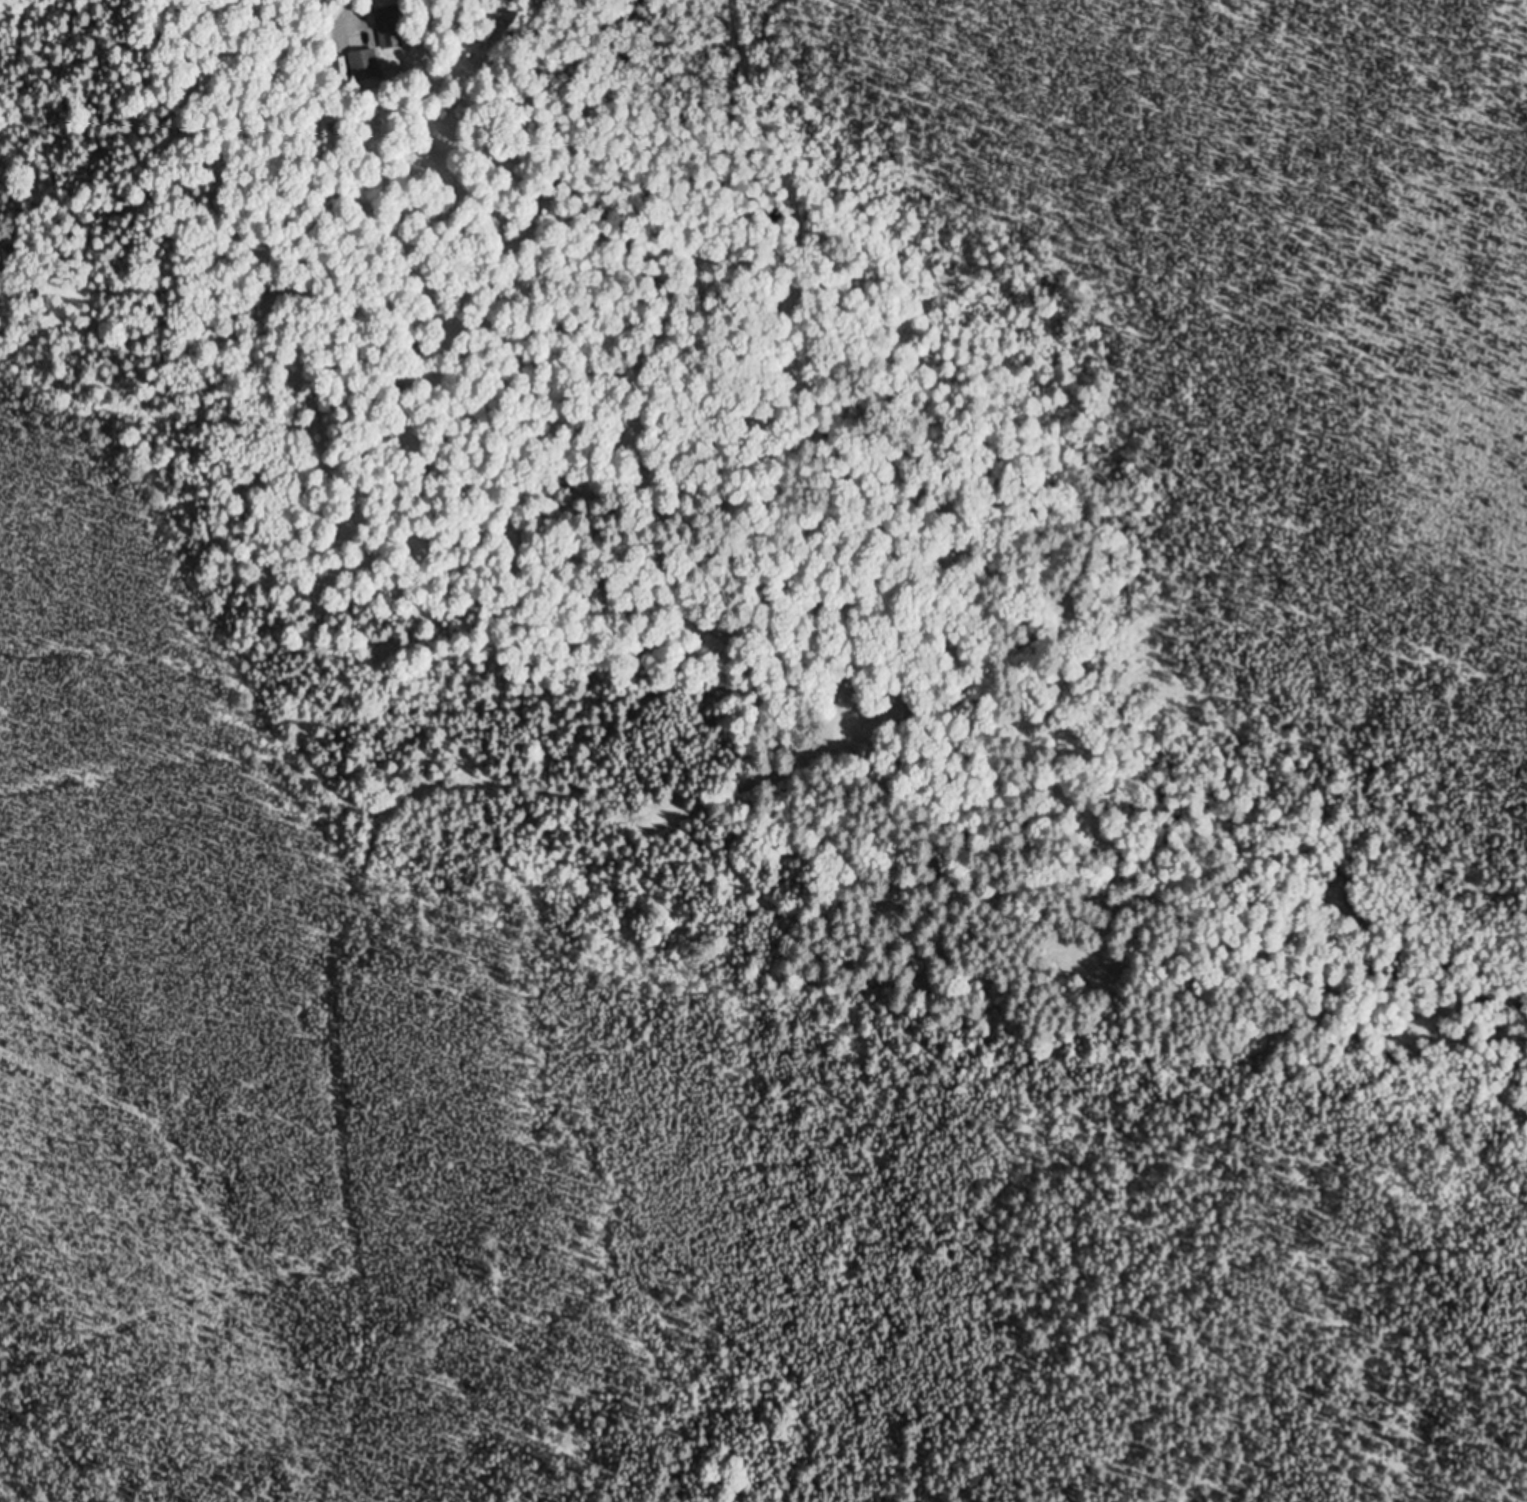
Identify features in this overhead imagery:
building: (387, 27)
building: (363, 65)
road: (1352, 1262)

